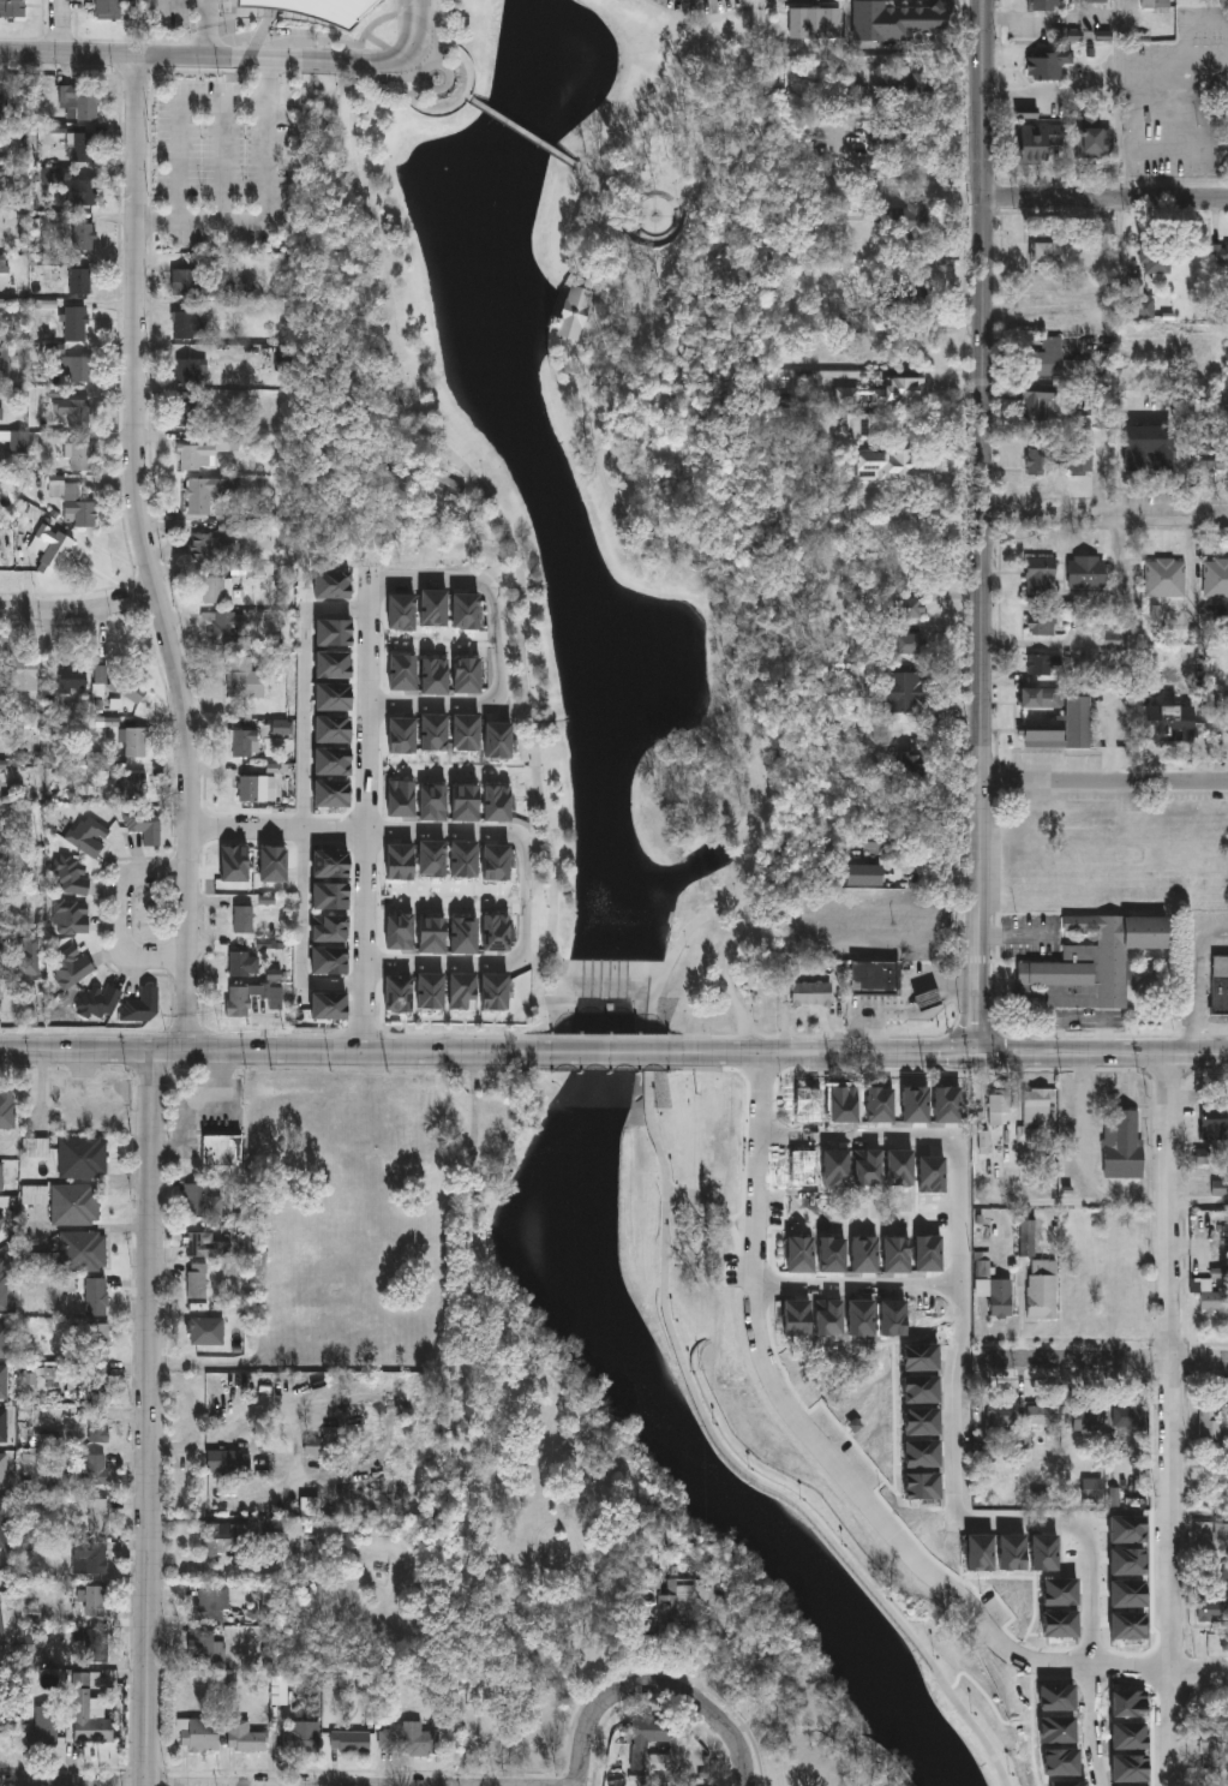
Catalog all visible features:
building: (1097, 1)
road: (184, 4)
parking lot: (185, 5)
building: (1044, 5)
building: (1152, 5)
building: (11, 7)
road: (397, 7)
building: (107, 10)
building: (310, 11)
road: (383, 18)
road: (701, 19)
building: (898, 22)
road: (1187, 23)
building: (815, 24)
road: (66, 26)
road: (206, 28)
road: (707, 30)
road: (396, 52)
road: (899, 52)
road: (437, 55)
road: (232, 58)
building: (1046, 65)
road: (1174, 67)
road: (427, 70)
road: (393, 77)
road: (447, 91)
road: (382, 92)
road: (415, 92)
road: (1054, 95)
road: (987, 97)
road: (1121, 97)
road: (467, 98)
building: (80, 102)
parking lot: (1179, 102)
building: (206, 104)
building: (2, 107)
road: (1174, 110)
road: (724, 114)
road: (174, 115)
road: (523, 132)
road: (649, 136)
building: (1036, 141)
building: (1095, 142)
building: (85, 148)
road: (1174, 151)
building: (192, 153)
parking lot: (217, 155)
road: (221, 161)
road: (589, 175)
building: (74, 187)
building: (202, 190)
road: (1107, 196)
road: (623, 197)
road: (266, 204)
road: (665, 207)
building: (905, 222)
road: (604, 235)
building: (84, 237)
building: (192, 241)
building: (1041, 244)
road: (687, 245)
building: (1221, 253)
building: (1155, 257)
building: (80, 281)
building: (193, 283)
building: (1138, 307)
building: (573, 312)
building: (76, 324)
building: (185, 325)
building: (5, 356)
building: (1046, 358)
building: (77, 371)
building: (192, 372)
road: (576, 390)
building: (904, 393)
building: (845, 396)
building: (1034, 401)
building: (186, 410)
building: (74, 412)
building: (867, 426)
building: (16, 442)
building: (1145, 447)
building: (208, 450)
building: (78, 456)
building: (1210, 458)
park: (577, 459)
building: (1058, 459)
building: (886, 466)
building: (444, 486)
building: (209, 492)
road: (490, 501)
building: (78, 508)
road: (1107, 518)
building: (52, 545)
building: (206, 545)
building: (0, 549)
building: (0, 551)
road: (146, 555)
building: (1088, 573)
building: (1166, 577)
building: (1041, 578)
building: (1217, 578)
building: (214, 590)
road: (78, 608)
building: (907, 609)
building: (1043, 622)
road: (986, 625)
building: (221, 628)
road: (369, 637)
building: (1115, 639)
building: (907, 644)
road: (1040, 644)
building: (1048, 665)
building: (24, 673)
building: (244, 677)
building: (72, 679)
building: (121, 683)
road: (306, 685)
building: (906, 691)
building: (1041, 698)
building: (1227, 713)
building: (1061, 727)
building: (1168, 728)
building: (126, 736)
building: (245, 742)
building: (906, 773)
building: (136, 786)
building: (253, 788)
road: (1106, 788)
building: (145, 823)
road: (497, 825)
building: (0, 830)
building: (89, 835)
building: (873, 848)
building: (73, 876)
building: (242, 876)
road: (735, 910)
road: (127, 914)
building: (72, 915)
building: (244, 918)
road: (799, 920)
road: (1019, 937)
building: (1, 962)
building: (244, 963)
building: (1092, 963)
building: (71, 966)
road: (617, 967)
road: (731, 970)
road: (1198, 978)
building: (874, 979)
building: (1218, 984)
road: (915, 988)
building: (811, 996)
building: (240, 999)
building: (102, 1000)
building: (928, 1000)
gas station: (928, 1000)
building: (144, 1005)
road: (916, 1017)
road: (652, 1025)
road: (82, 1034)
road: (188, 1035)
road: (275, 1035)
road: (977, 1035)
road: (1114, 1035)
road: (363, 1037)
road: (459, 1037)
road: (851, 1037)
road: (606, 1038)
road: (719, 1039)
road: (268, 1051)
road: (627, 1053)
road: (972, 1053)
traffic signals: (983, 1053)
road: (998, 1053)
road: (66, 1064)
road: (604, 1068)
road: (152, 1070)
road: (917, 1070)
road: (1205, 1071)
road: (1167, 1076)
building: (804, 1104)
building: (840, 1105)
building: (875, 1105)
building: (911, 1105)
building: (944, 1105)
building: (999, 1105)
building: (1037, 1107)
building: (7, 1110)
building: (1211, 1121)
building: (982, 1142)
building: (1121, 1142)
building: (36, 1146)
building: (221, 1149)
building: (82, 1157)
road: (1085, 1159)
building: (799, 1167)
building: (832, 1167)
building: (864, 1167)
building: (895, 1167)
building: (928, 1175)
building: (1, 1176)
building: (200, 1202)
building: (74, 1203)
road: (1199, 1205)
road: (717, 1206)
building: (1, 1221)
road: (754, 1231)
building: (1025, 1238)
building: (199, 1244)
building: (82, 1250)
road: (166, 1250)
building: (924, 1254)
building: (797, 1255)
building: (828, 1255)
building: (861, 1255)
building: (893, 1255)
building: (982, 1265)
parking lot: (729, 1270)
building: (196, 1280)
building: (4, 1284)
road: (858, 1286)
building: (1041, 1288)
building: (1126, 1292)
building: (898, 1294)
building: (996, 1295)
building: (95, 1296)
building: (1083, 1297)
building: (1212, 1298)
building: (857, 1318)
building: (792, 1319)
building: (825, 1319)
building: (889, 1319)
building: (204, 1330)
building: (98, 1338)
building: (2, 1339)
building: (917, 1358)
road: (1106, 1358)
building: (96, 1380)
building: (4, 1381)
building: (917, 1391)
building: (1000, 1414)
building: (1041, 1414)
building: (1128, 1415)
building: (1084, 1416)
road: (151, 1418)
road: (1169, 1418)
park: (724, 1421)
building: (917, 1423)
building: (4, 1424)
road: (953, 1424)
building: (96, 1426)
building: (1210, 1427)
building: (918, 1455)
building: (220, 1459)
building: (1200, 1467)
building: (4, 1470)
building: (96, 1470)
building: (918, 1486)
building: (1094, 1488)
road: (1199, 1515)
building: (98, 1516)
building: (2, 1522)
building: (1124, 1530)
building: (222, 1537)
building: (976, 1553)
building: (1041, 1553)
building: (1008, 1554)
building: (90, 1557)
building: (1122, 1563)
road: (951, 1588)
building: (1056, 1593)
building: (1124, 1594)
building: (94, 1600)
building: (206, 1603)
building: (1212, 1607)
building: (676, 1611)
building: (1055, 1624)
building: (1124, 1626)
building: (203, 1648)
road: (1200, 1669)
road: (629, 1691)
building: (1054, 1698)
building: (1125, 1704)
building: (89, 1714)
building: (46, 1722)
building: (520, 1730)
road: (828, 1730)
building: (1053, 1731)
building: (198, 1734)
building: (1212, 1736)
building: (247, 1737)
building: (1125, 1738)
building: (304, 1740)
building: (405, 1740)
building: (351, 1742)
building: (640, 1744)
road: (744, 1755)
building: (1058, 1763)
building: (1126, 1769)
building: (1065, 1784)
road: (290, 1785)

